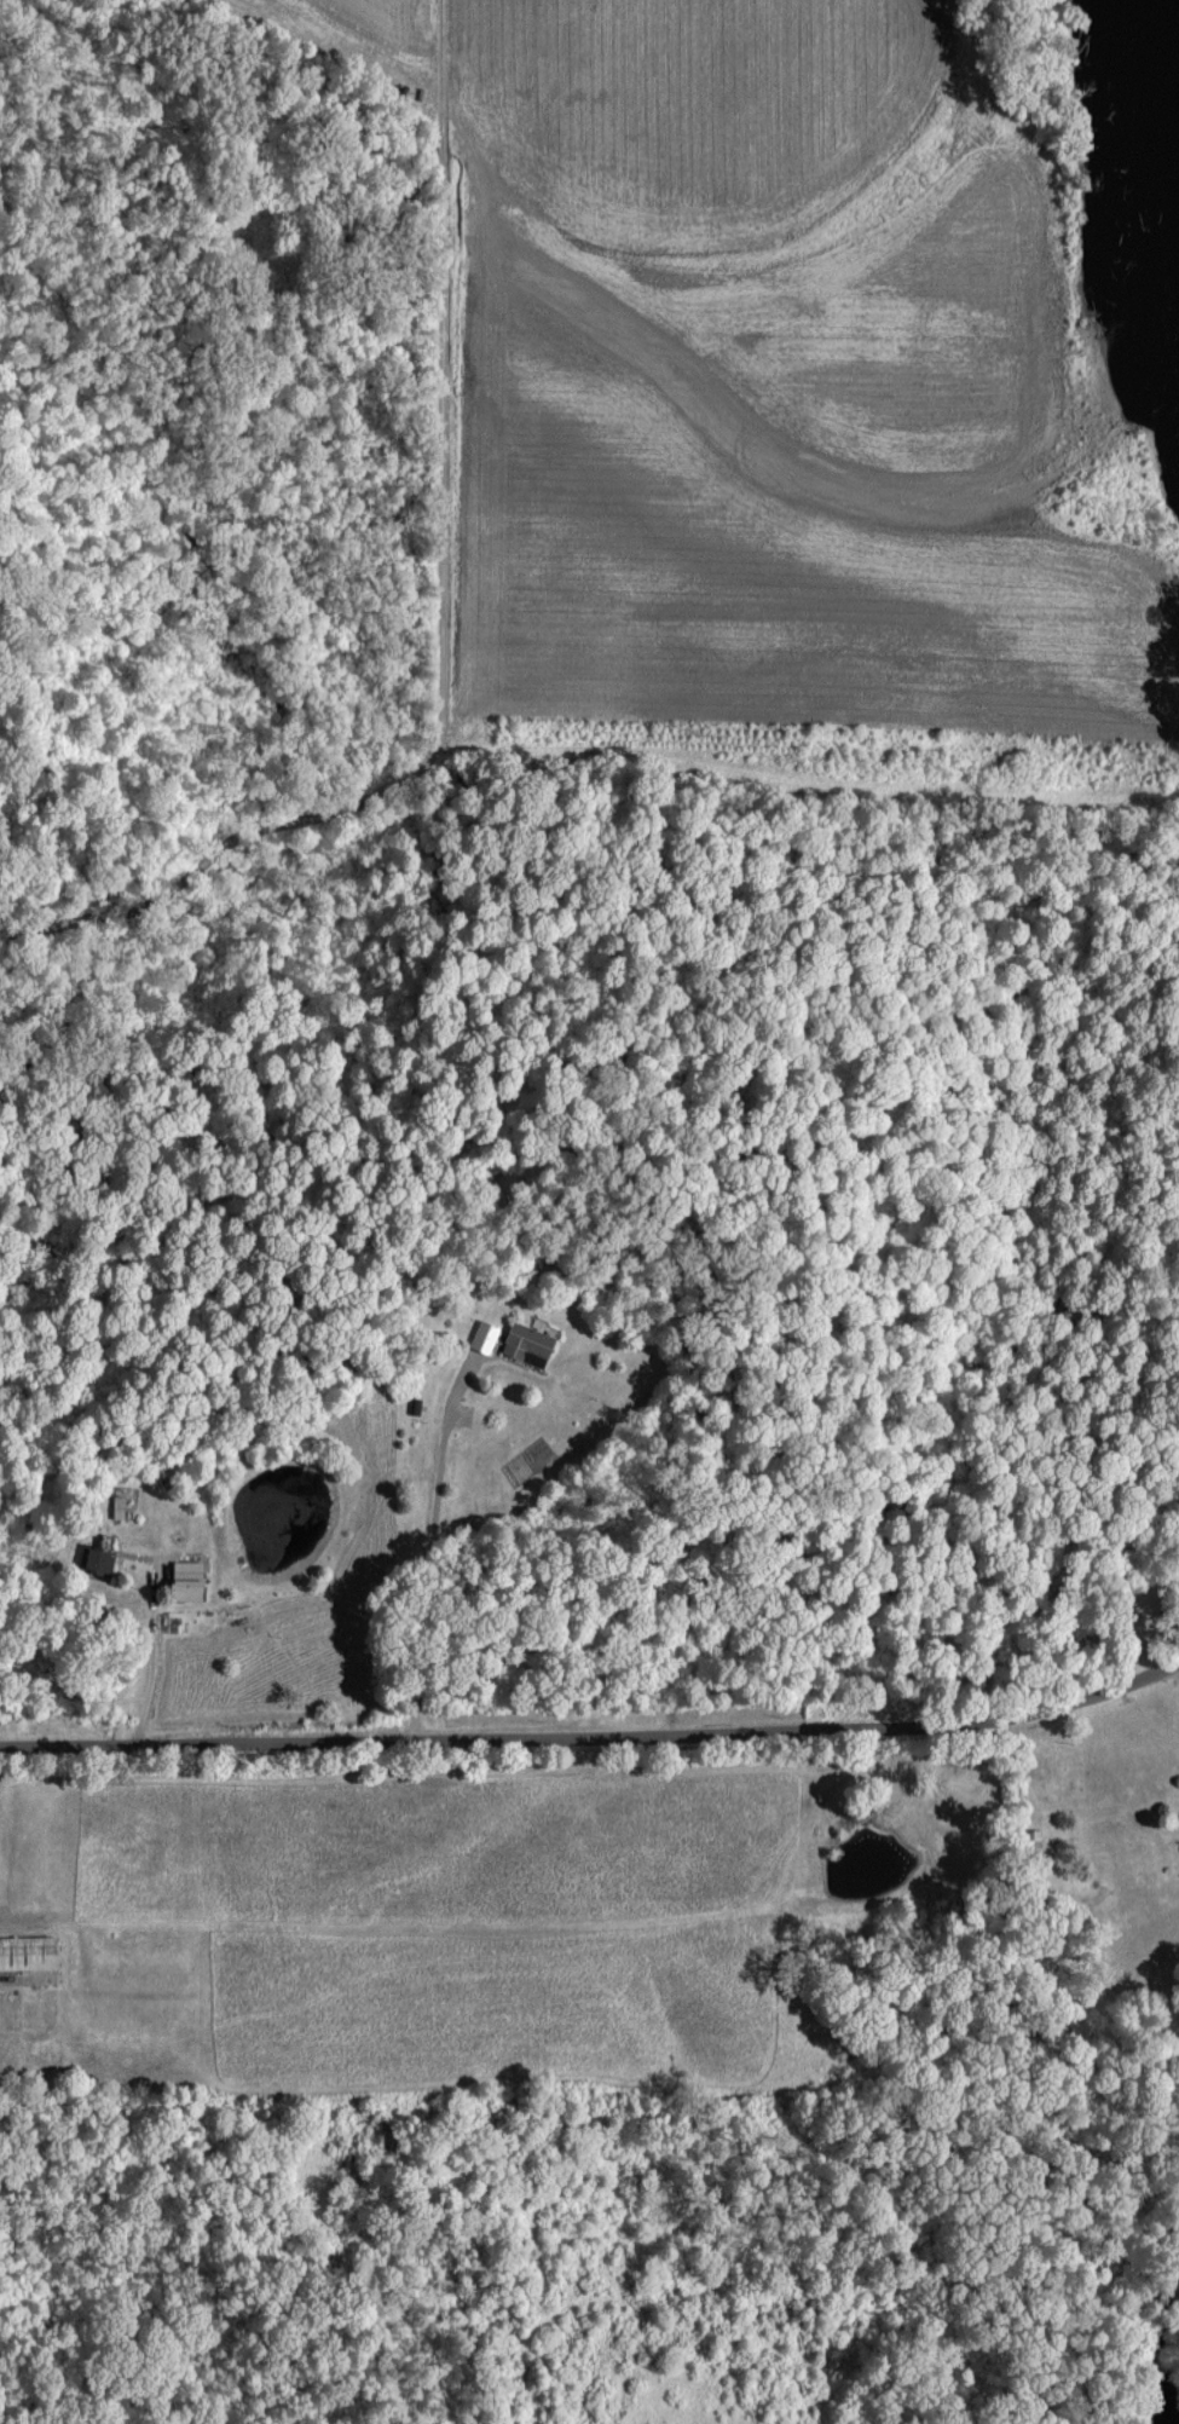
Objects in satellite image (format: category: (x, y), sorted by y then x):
building: (482, 1337)
building: (527, 1344)
road: (429, 1554)
building: (98, 1560)
building: (187, 1581)
road: (1177, 1660)
road: (150, 1663)
road: (596, 1736)
building: (1033, 1841)
building: (28, 1952)

